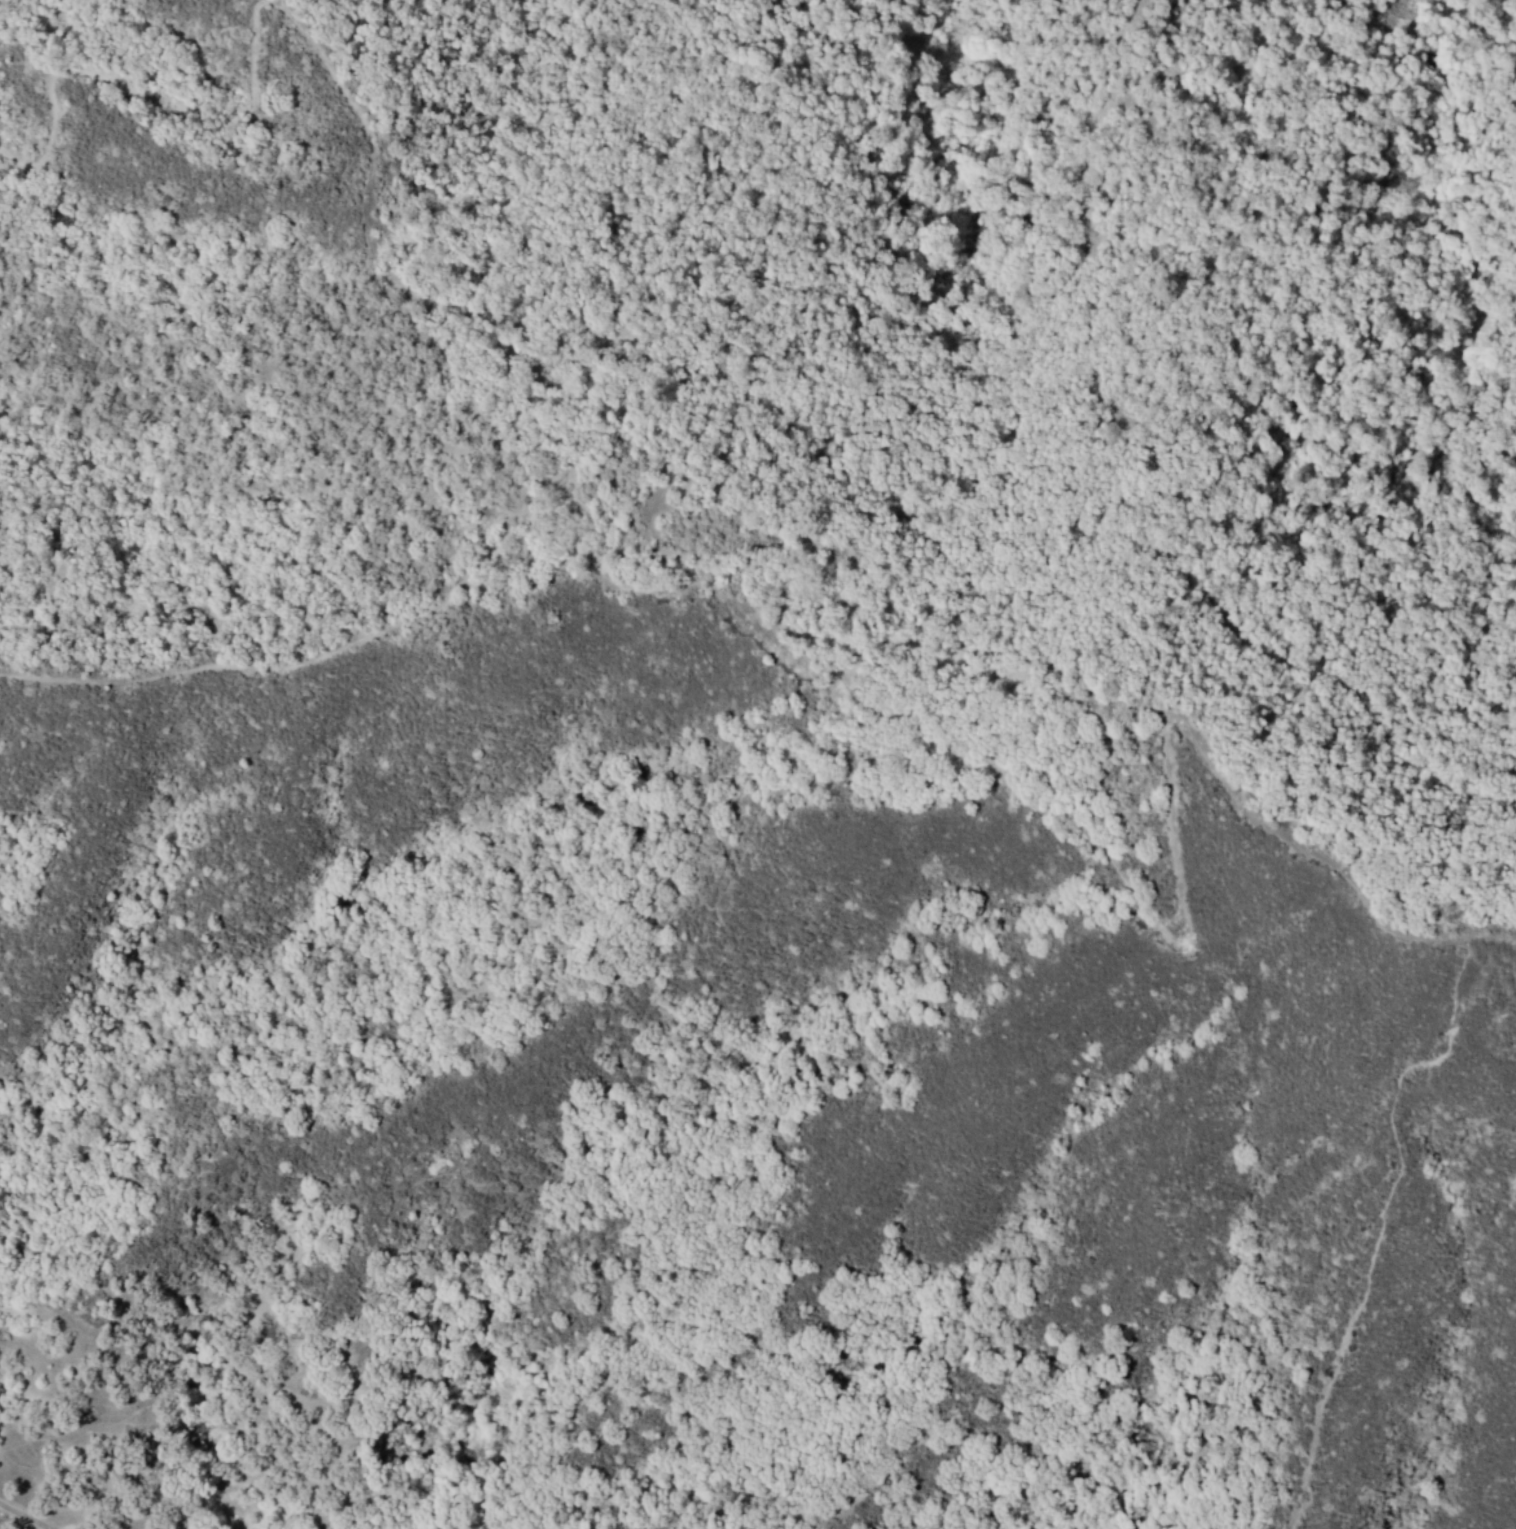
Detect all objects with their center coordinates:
road: (20, 1518)

